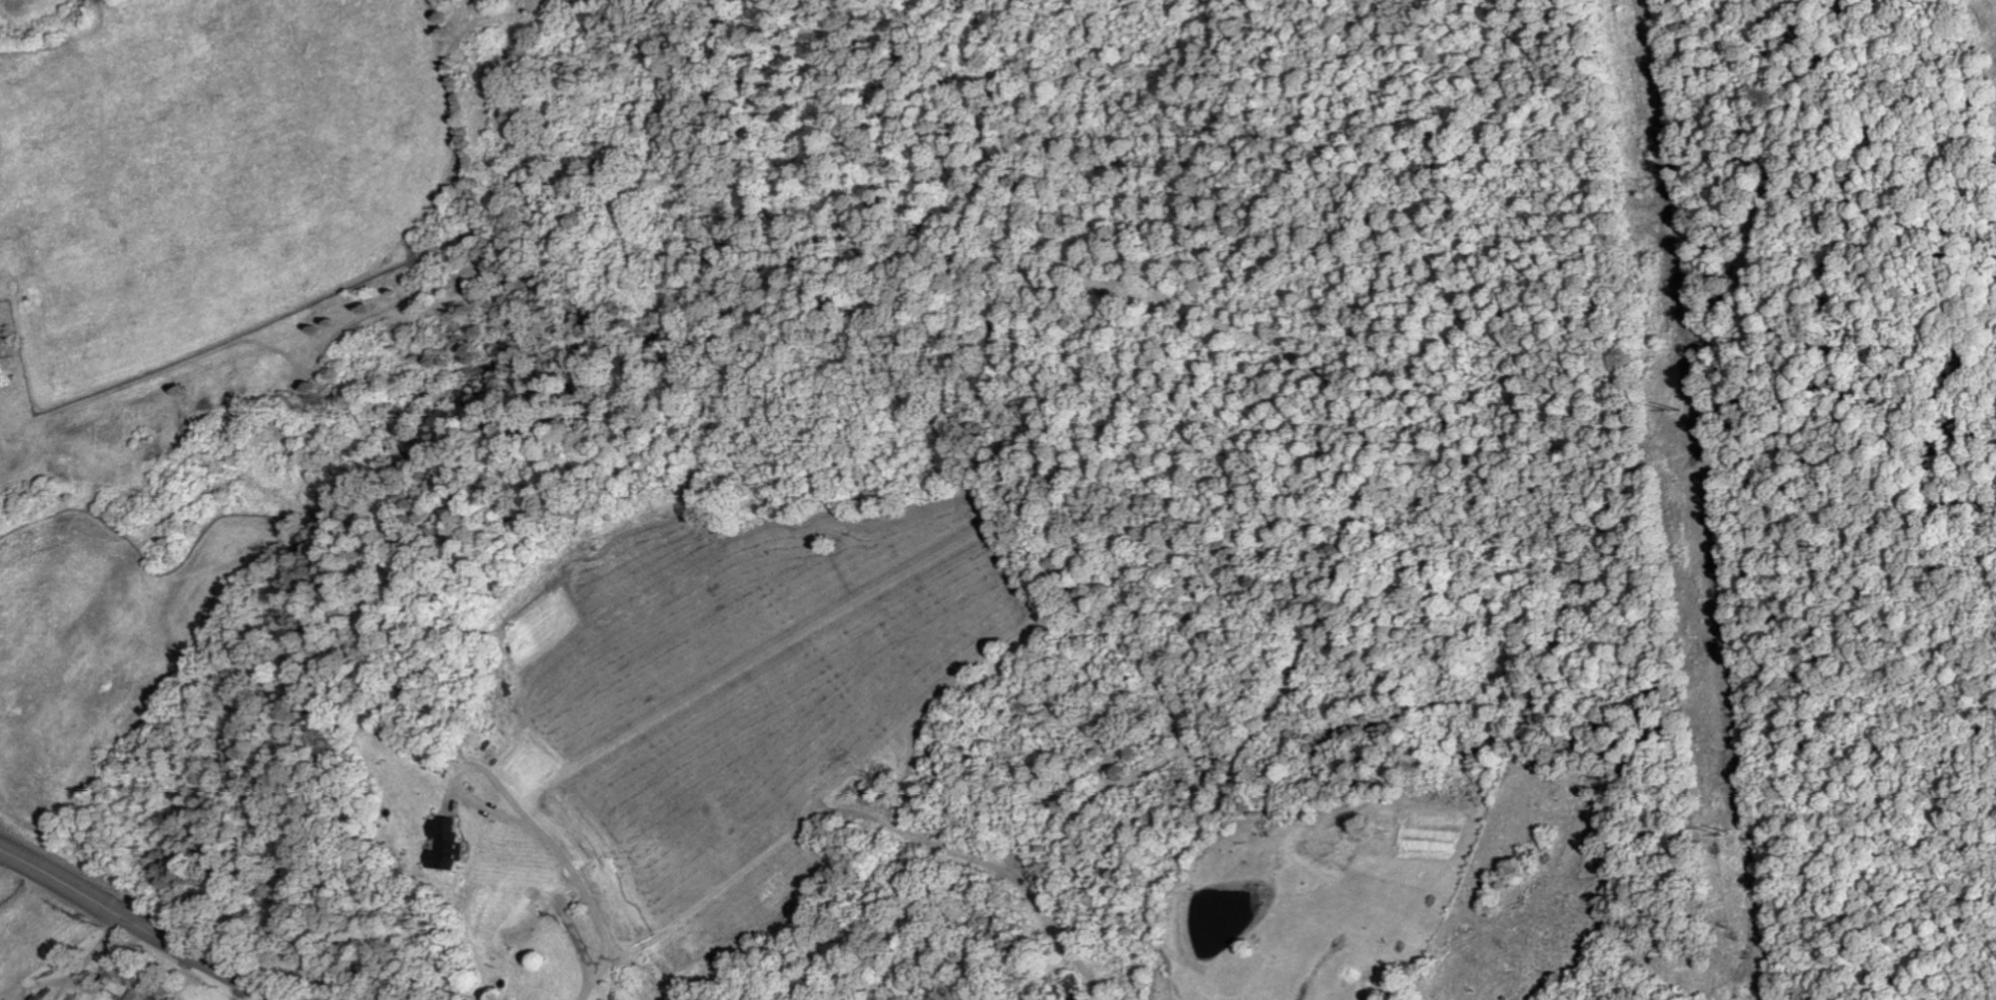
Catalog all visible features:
power tower: (1682, 408)
power tower: (1733, 830)
building: (447, 843)
road: (138, 923)
building: (141, 992)
building: (36, 998)

